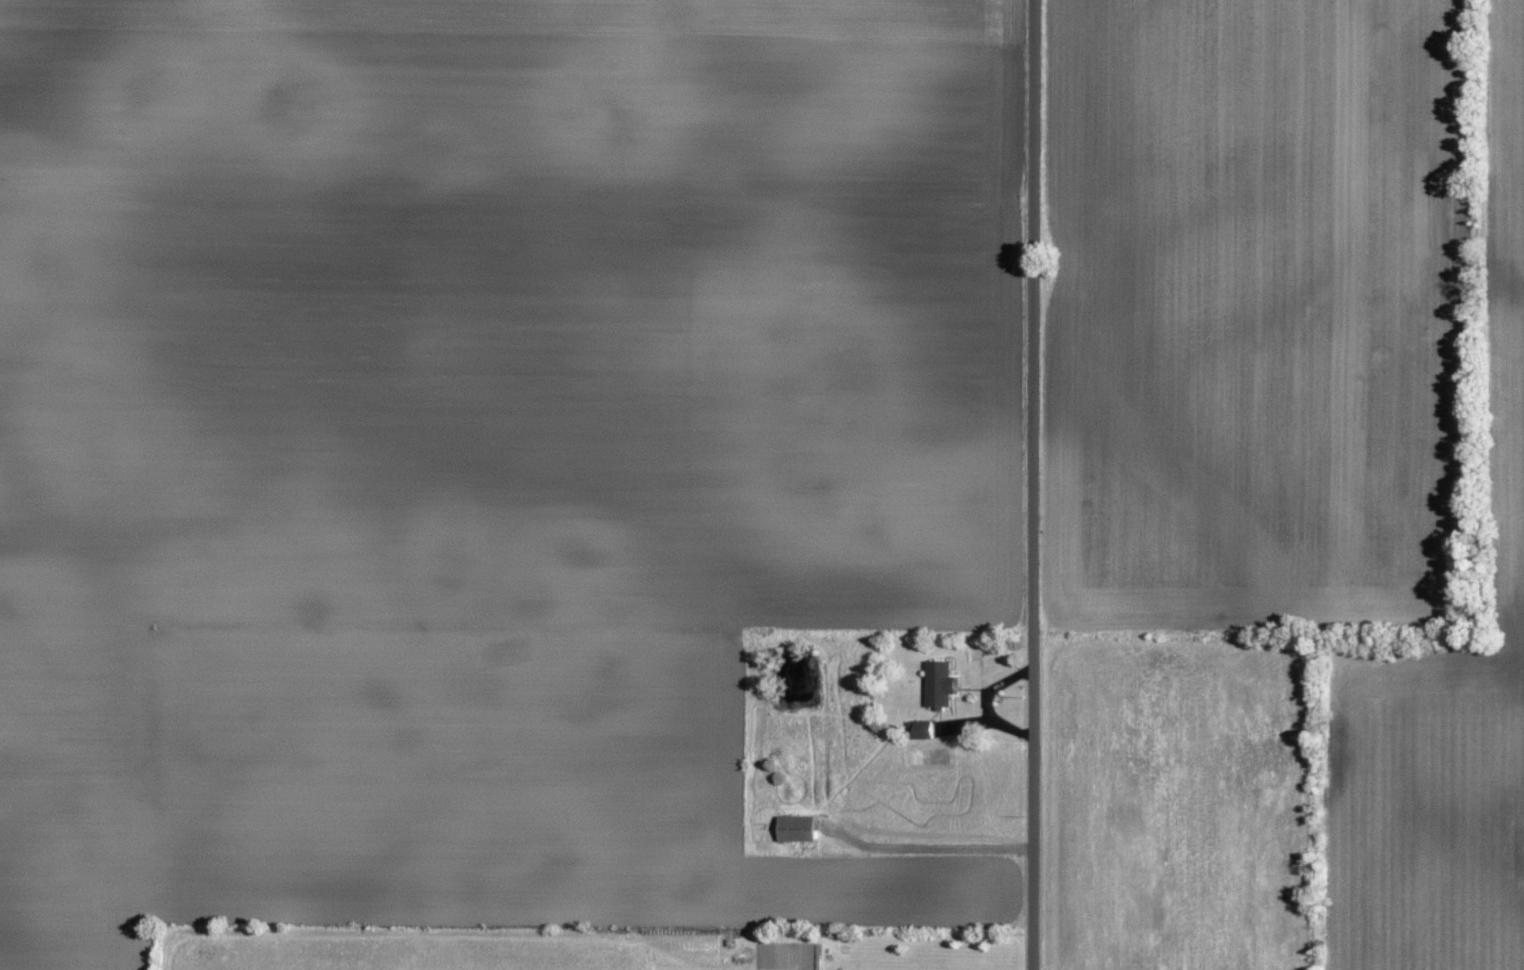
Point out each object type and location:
road: (1035, 484)
building: (942, 684)
building: (925, 730)
building: (799, 829)
road: (930, 849)

